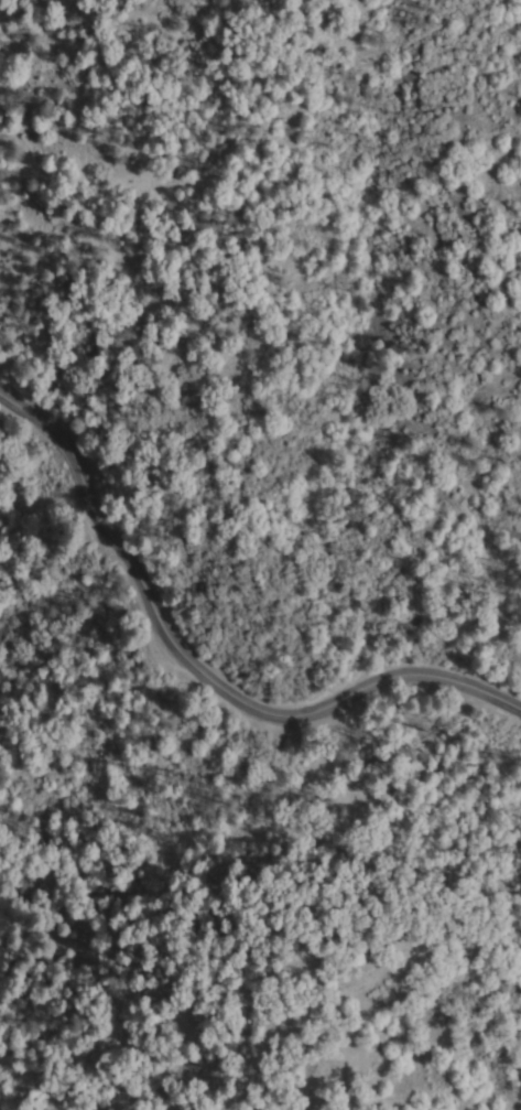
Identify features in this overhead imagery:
road: (199, 669)

